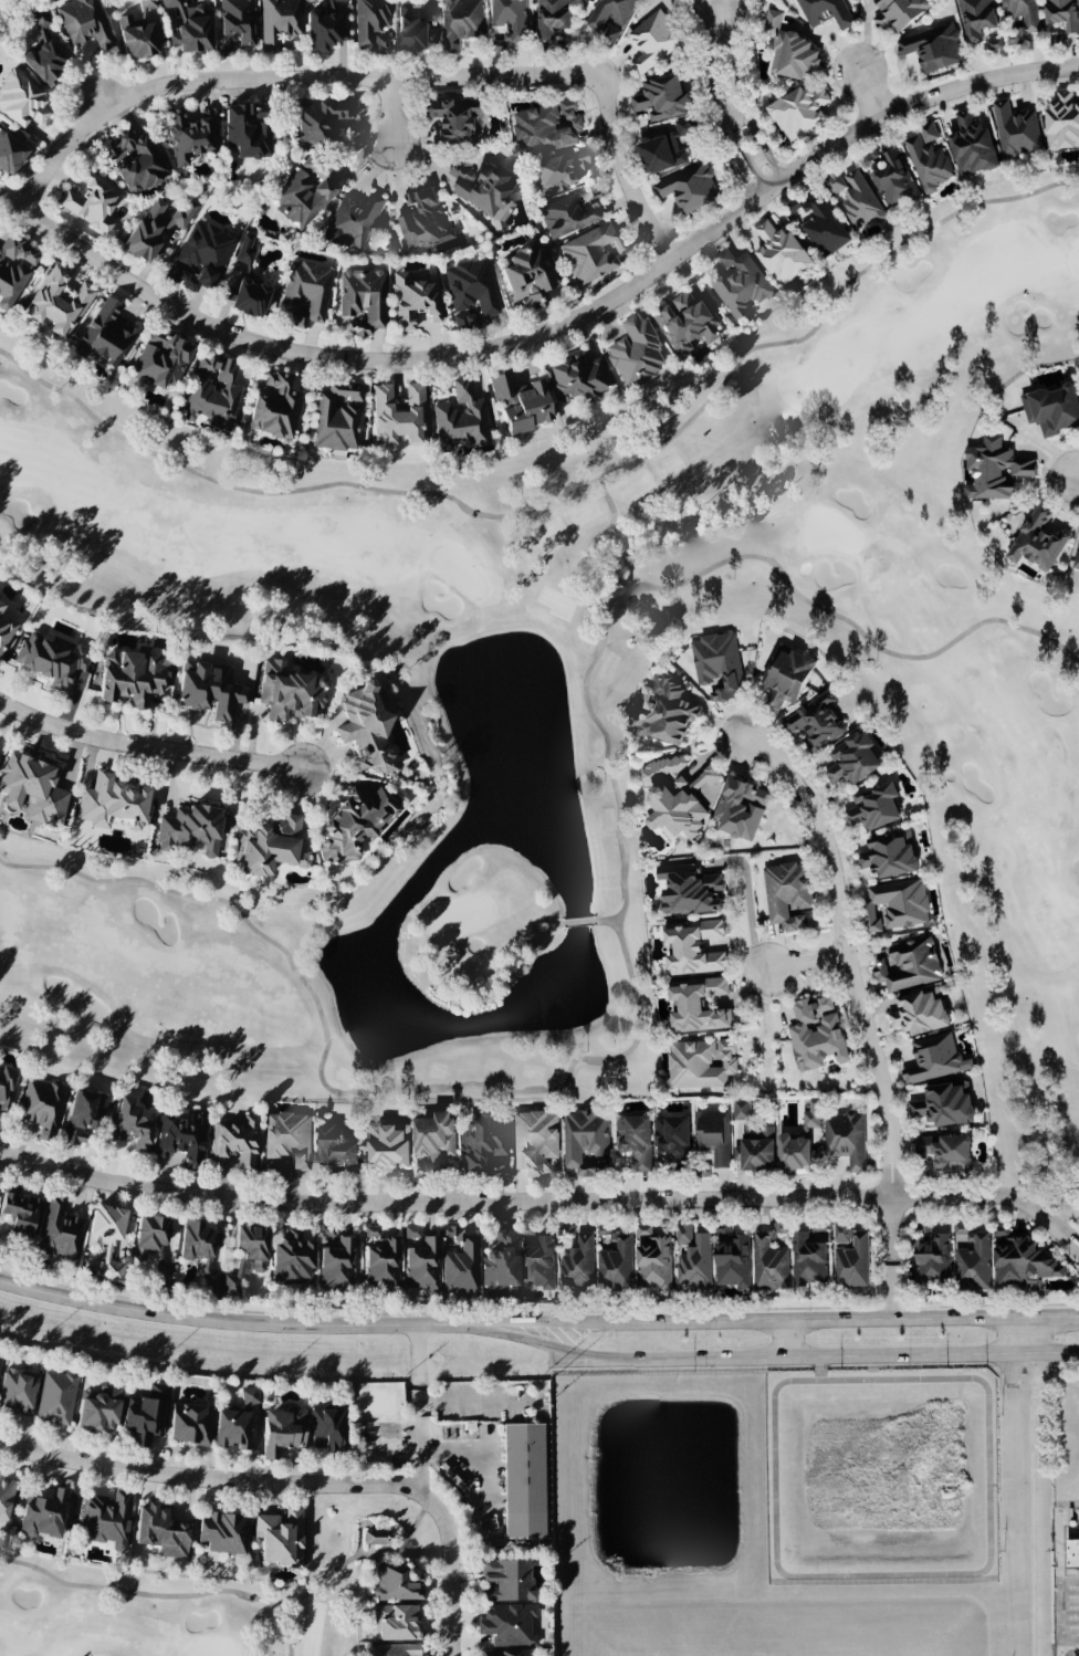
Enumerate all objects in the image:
road: (722, 2)
building: (828, 11)
building: (899, 13)
building: (1022, 13)
building: (1062, 13)
building: (552, 17)
building: (609, 18)
building: (976, 18)
building: (238, 20)
building: (368, 20)
building: (509, 21)
building: (279, 22)
building: (461, 22)
building: (84, 23)
building: (326, 25)
building: (189, 27)
building: (136, 39)
building: (654, 39)
building: (381, 44)
building: (995, 44)
building: (932, 46)
building: (43, 52)
building: (228, 52)
road: (713, 55)
building: (793, 55)
road: (735, 73)
road: (380, 78)
road: (869, 88)
building: (661, 99)
building: (21, 101)
road: (389, 109)
building: (799, 111)
building: (455, 119)
building: (321, 120)
road: (729, 120)
building: (1062, 120)
road: (721, 124)
building: (547, 126)
building: (248, 130)
building: (929, 130)
building: (1017, 130)
building: (188, 137)
building: (972, 145)
building: (667, 147)
building: (10, 154)
road: (768, 159)
road: (750, 163)
building: (928, 163)
road: (738, 169)
building: (559, 170)
building: (893, 180)
building: (689, 187)
building: (305, 192)
building: (485, 192)
building: (859, 199)
building: (91, 202)
building: (568, 216)
building: (425, 220)
building: (353, 222)
building: (824, 227)
building: (155, 229)
building: (247, 250)
building: (781, 252)
building: (594, 253)
building: (201, 256)
building: (14, 269)
building: (528, 276)
building: (738, 283)
building: (306, 292)
building: (472, 293)
building: (363, 296)
building: (249, 298)
building: (415, 300)
building: (56, 302)
road: (552, 322)
building: (684, 322)
building: (105, 334)
building: (635, 352)
building: (161, 361)
building: (577, 377)
building: (212, 392)
building: (518, 401)
building: (274, 406)
building: (1052, 408)
building: (398, 415)
building: (336, 417)
building: (460, 418)
building: (994, 469)
road: (1076, 478)
building: (1038, 538)
building: (1076, 556)
building: (2, 602)
building: (6, 631)
building: (52, 659)
building: (717, 663)
building: (133, 675)
building: (786, 675)
building: (209, 689)
park: (577, 691)
building: (289, 692)
building: (668, 712)
building: (816, 720)
building: (366, 727)
road: (148, 751)
building: (852, 758)
building: (33, 789)
building: (112, 803)
building: (874, 806)
building: (740, 808)
building: (353, 822)
building: (191, 829)
building: (271, 847)
building: (890, 855)
building: (690, 890)
building: (788, 895)
building: (902, 901)
building: (874, 918)
building: (693, 946)
road: (800, 963)
building: (909, 964)
building: (698, 1004)
road: (858, 1010)
building: (919, 1010)
building: (816, 1033)
building: (934, 1058)
building: (701, 1062)
building: (7, 1086)
building: (944, 1104)
building: (42, 1107)
building: (740, 1109)
building: (83, 1115)
building: (132, 1124)
building: (713, 1134)
building: (845, 1138)
building: (182, 1139)
building: (673, 1139)
building: (635, 1140)
building: (436, 1141)
building: (534, 1141)
building: (235, 1142)
building: (586, 1142)
building: (800, 1142)
building: (286, 1143)
building: (389, 1147)
building: (484, 1147)
building: (336, 1149)
building: (756, 1149)
building: (949, 1152)
road: (545, 1202)
building: (19, 1210)
building: (60, 1231)
building: (447, 1231)
building: (108, 1238)
building: (153, 1245)
building: (200, 1251)
building: (247, 1256)
building: (693, 1256)
building: (809, 1256)
building: (850, 1257)
building: (420, 1259)
building: (653, 1259)
building: (732, 1259)
building: (933, 1259)
building: (380, 1260)
building: (500, 1260)
building: (614, 1260)
building: (1022, 1261)
building: (538, 1262)
building: (578, 1262)
building: (973, 1262)
building: (460, 1268)
road: (1049, 1318)
road: (816, 1320)
road: (229, 1322)
road: (538, 1325)
road: (786, 1338)
road: (768, 1355)
building: (0, 1359)
road: (821, 1367)
building: (18, 1391)
building: (249, 1396)
building: (56, 1398)
road: (472, 1400)
road: (420, 1408)
building: (98, 1409)
building: (145, 1415)
building: (190, 1424)
building: (327, 1427)
building: (232, 1429)
building: (282, 1430)
building: (0, 1468)
road: (221, 1481)
building: (524, 1481)
road: (1033, 1485)
building: (41, 1492)
building: (6, 1497)
building: (43, 1516)
building: (106, 1519)
building: (160, 1531)
building: (222, 1532)
building: (280, 1537)
building: (375, 1538)
building: (1072, 1553)
road: (947, 1578)
building: (506, 1580)
building: (396, 1583)
road: (443, 1583)
park: (174, 1613)
building: (396, 1622)
building: (506, 1625)
building: (394, 1649)
building: (501, 1653)

